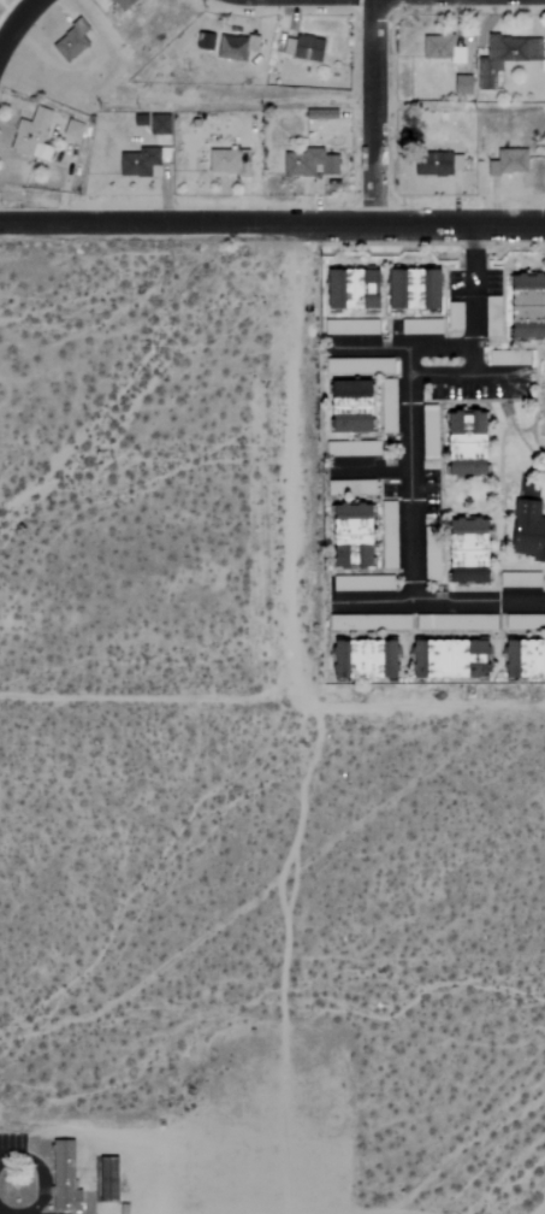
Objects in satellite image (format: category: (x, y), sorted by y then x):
building: (119, 4)
road: (16, 22)
building: (67, 41)
building: (201, 41)
building: (229, 47)
building: (304, 48)
building: (439, 48)
building: (503, 57)
building: (460, 84)
road: (373, 113)
building: (156, 124)
building: (71, 129)
building: (30, 135)
building: (508, 161)
building: (136, 163)
building: (224, 163)
building: (306, 163)
building: (434, 165)
road: (186, 223)
road: (458, 226)
building: (348, 289)
building: (407, 289)
building: (523, 306)
building: (452, 316)
building: (490, 317)
building: (507, 358)
building: (379, 365)
building: (385, 406)
building: (426, 431)
road: (410, 450)
building: (461, 526)
building: (346, 531)
building: (525, 531)
building: (385, 535)
building: (461, 566)
building: (357, 660)
building: (443, 660)
building: (521, 660)
road: (8, 1155)
building: (66, 1177)
building: (111, 1179)
road: (38, 1184)
road: (7, 1210)

